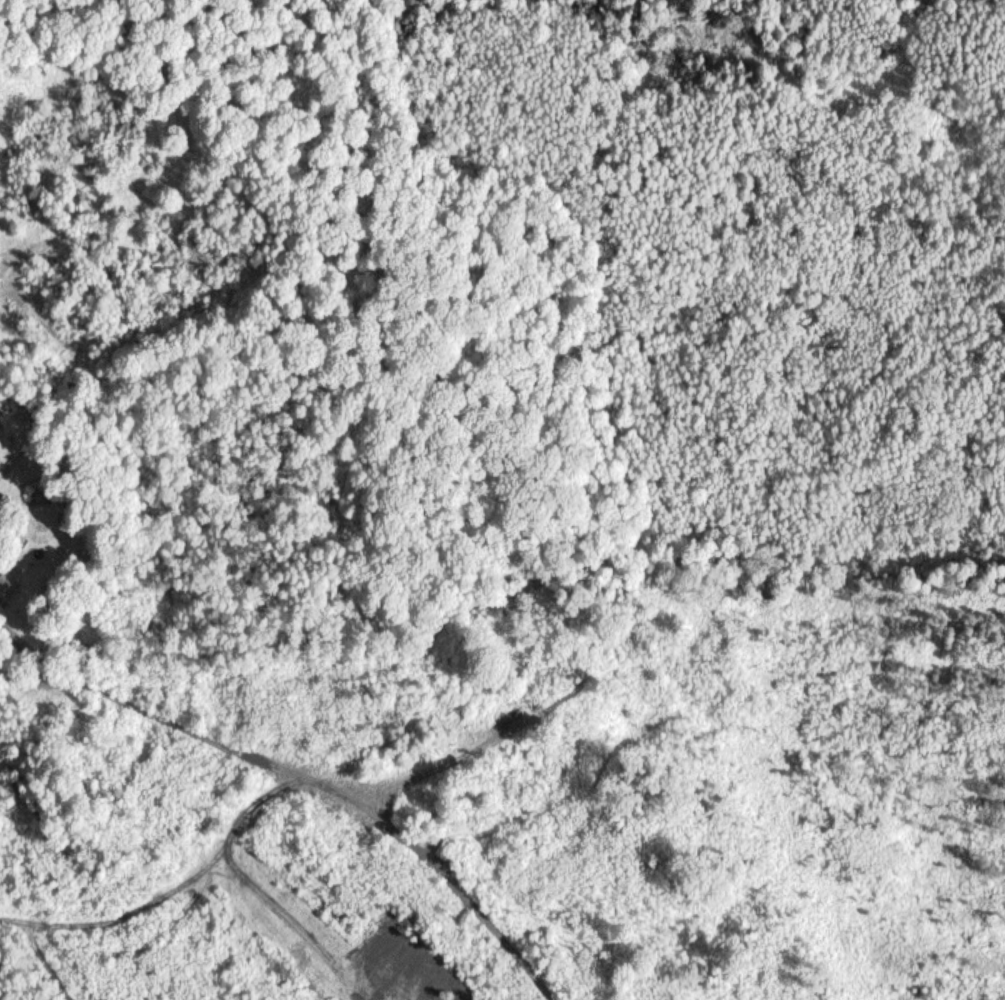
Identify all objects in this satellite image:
building: (7, 585)
road: (265, 758)
road: (593, 857)

